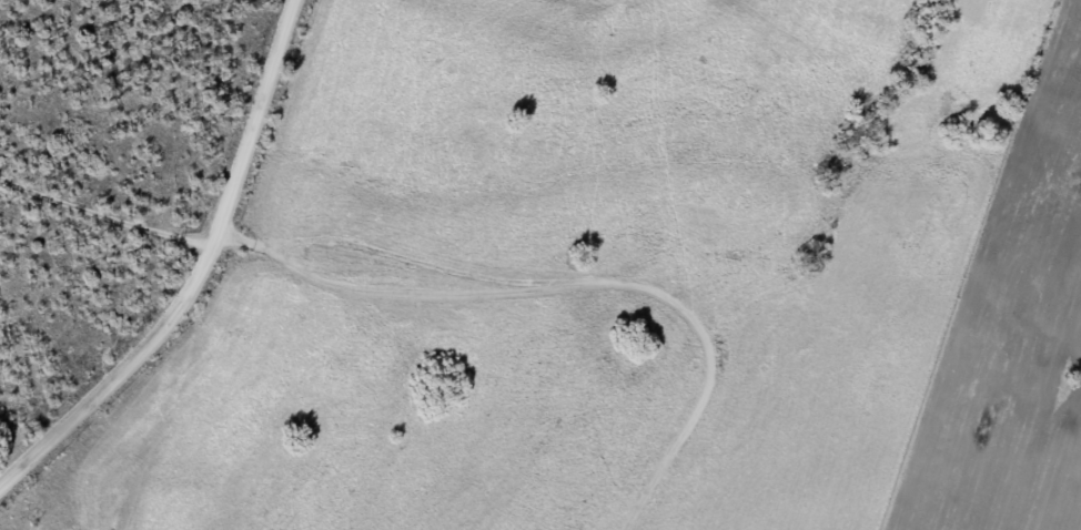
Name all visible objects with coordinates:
road: (108, 211)
road: (201, 279)

